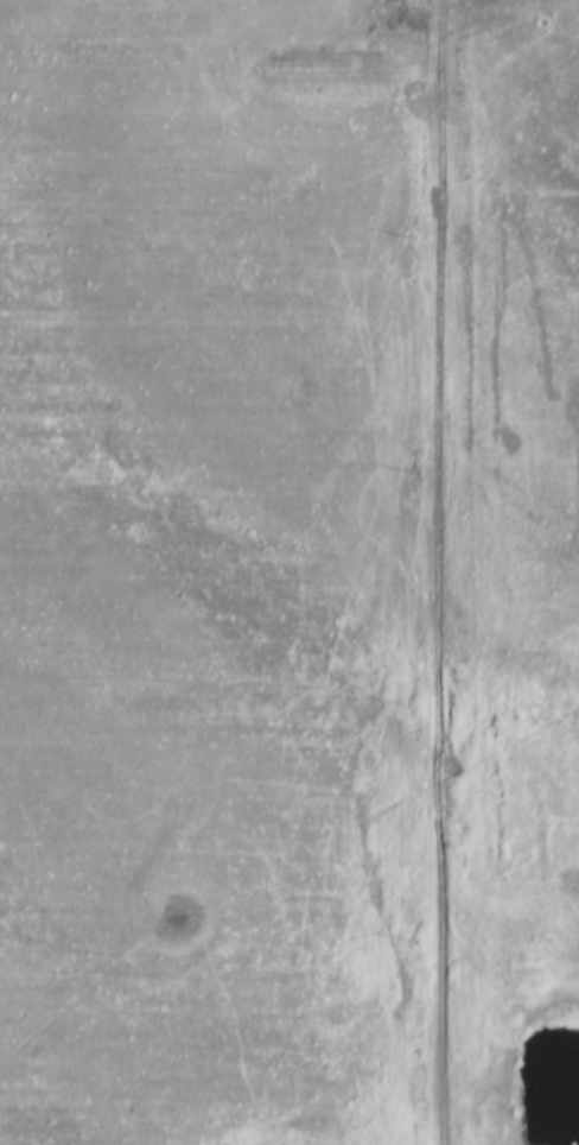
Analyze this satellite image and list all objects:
road: (434, 572)

